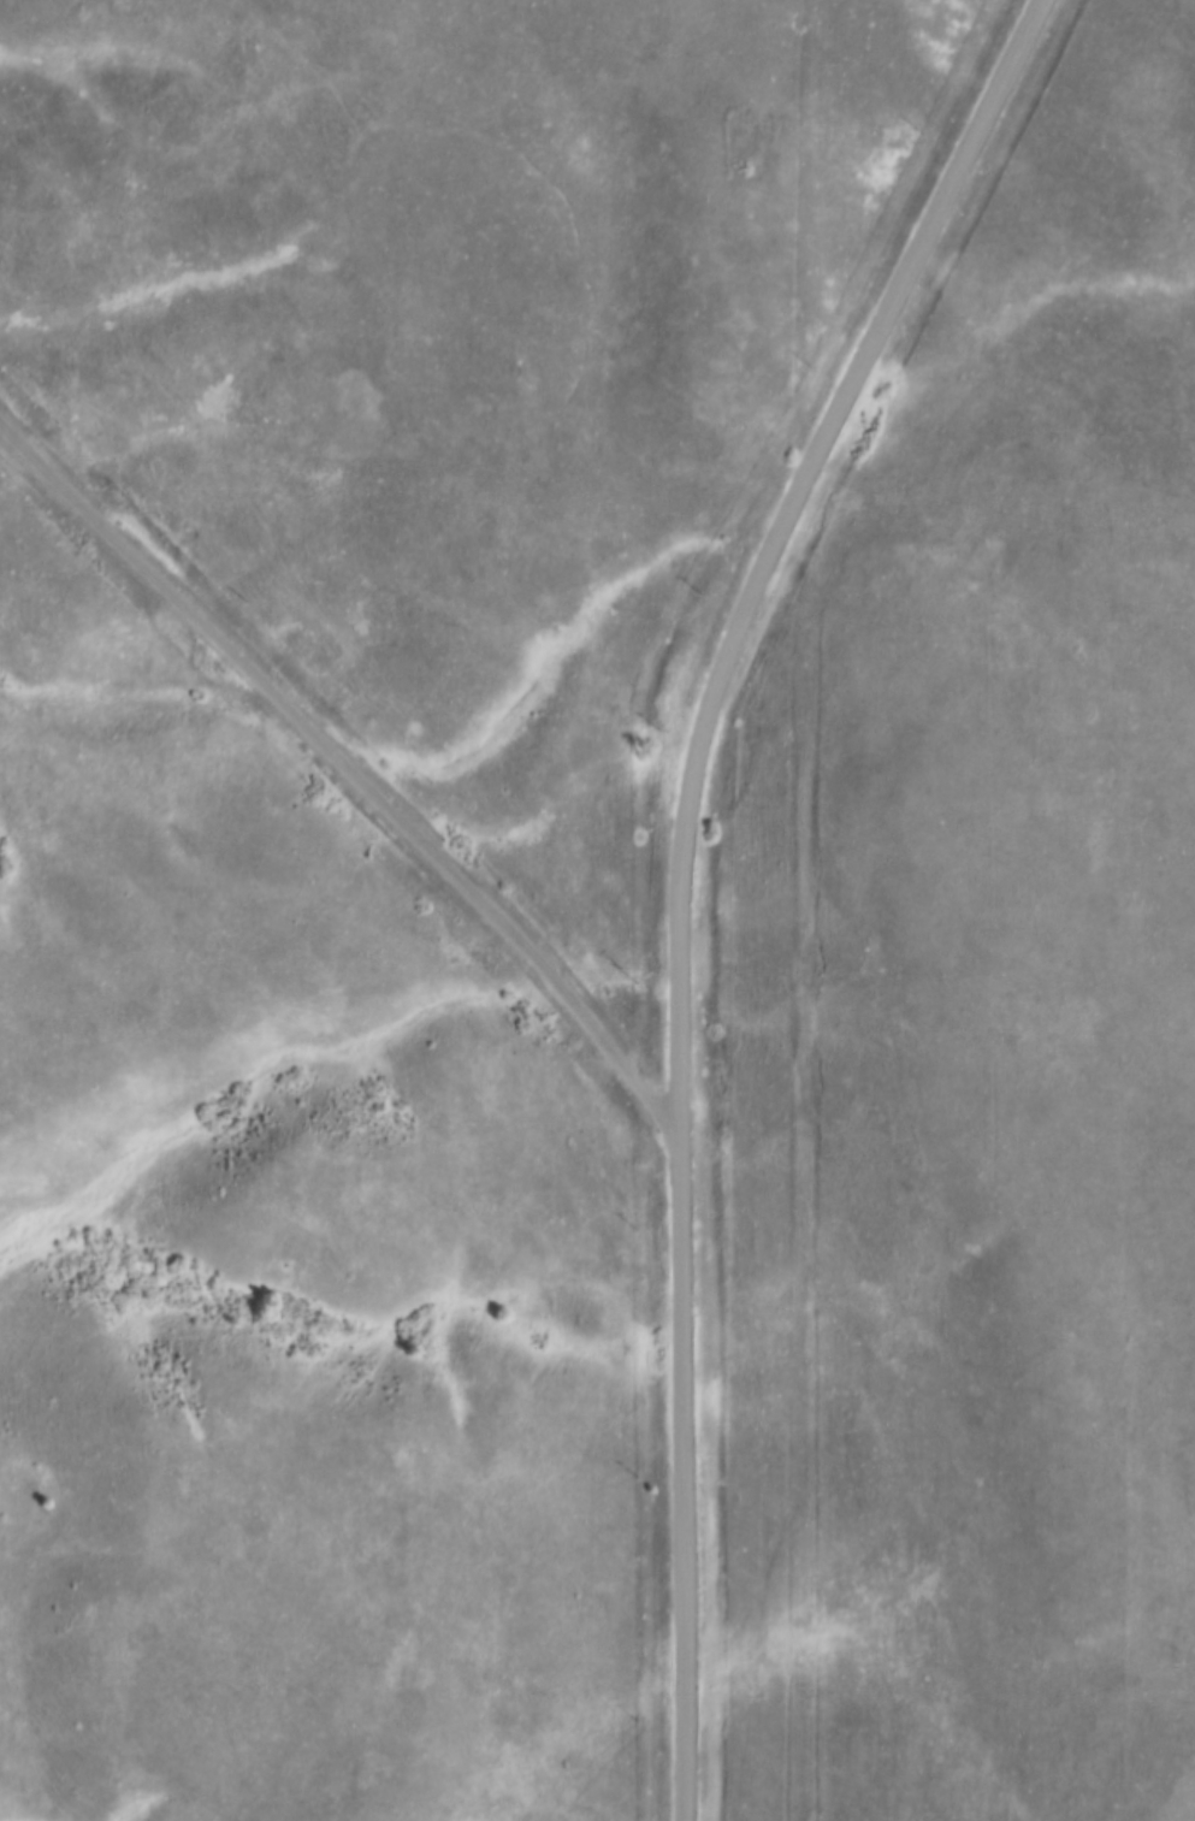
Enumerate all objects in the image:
road: (351, 782)
road: (681, 871)

